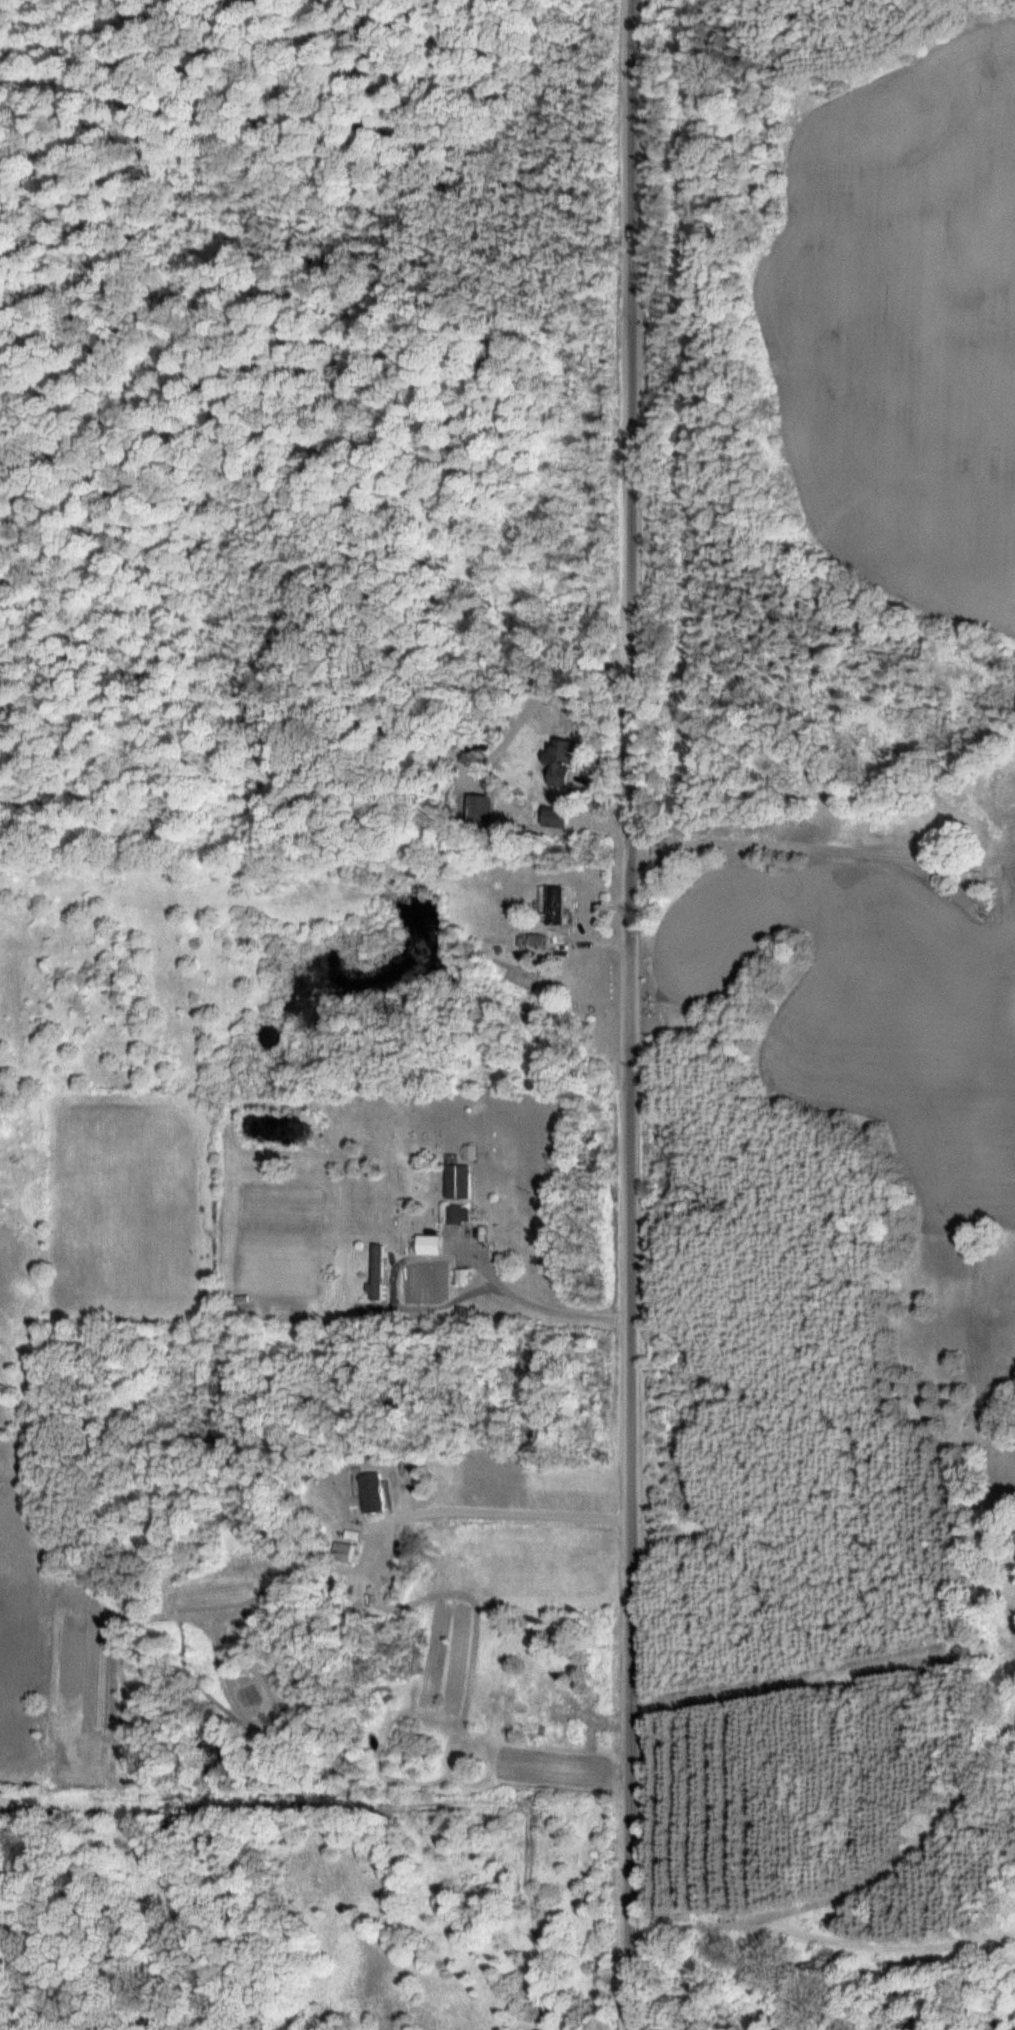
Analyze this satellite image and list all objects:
building: (562, 765)
road: (824, 874)
building: (557, 906)
road: (633, 1015)
building: (459, 1180)
building: (456, 1213)
building: (432, 1242)
building: (379, 1271)
building: (465, 1275)
building: (402, 1472)
building: (372, 1492)
building: (551, 1692)
road: (807, 1765)
road: (20, 2019)

